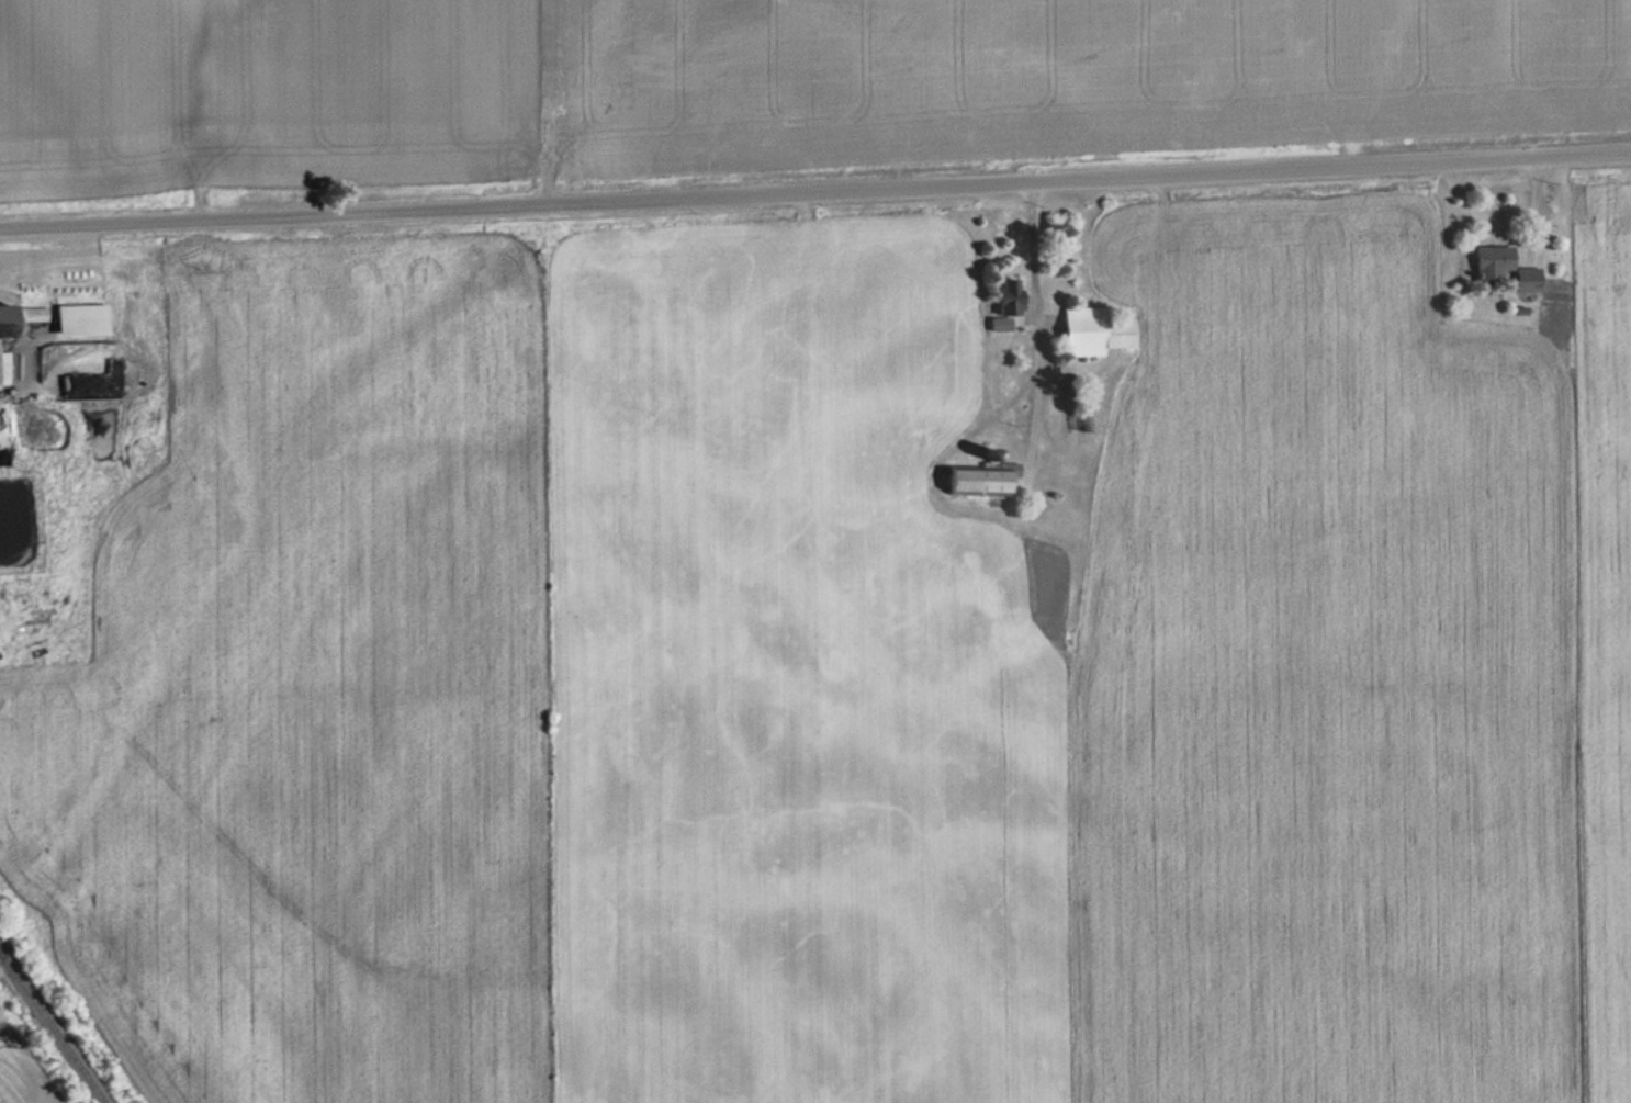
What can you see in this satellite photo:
road: (815, 189)
building: (1487, 260)
building: (1523, 277)
building: (1002, 295)
building: (77, 318)
building: (2, 322)
building: (1093, 331)
building: (2, 368)
building: (979, 477)
railway: (53, 1027)

